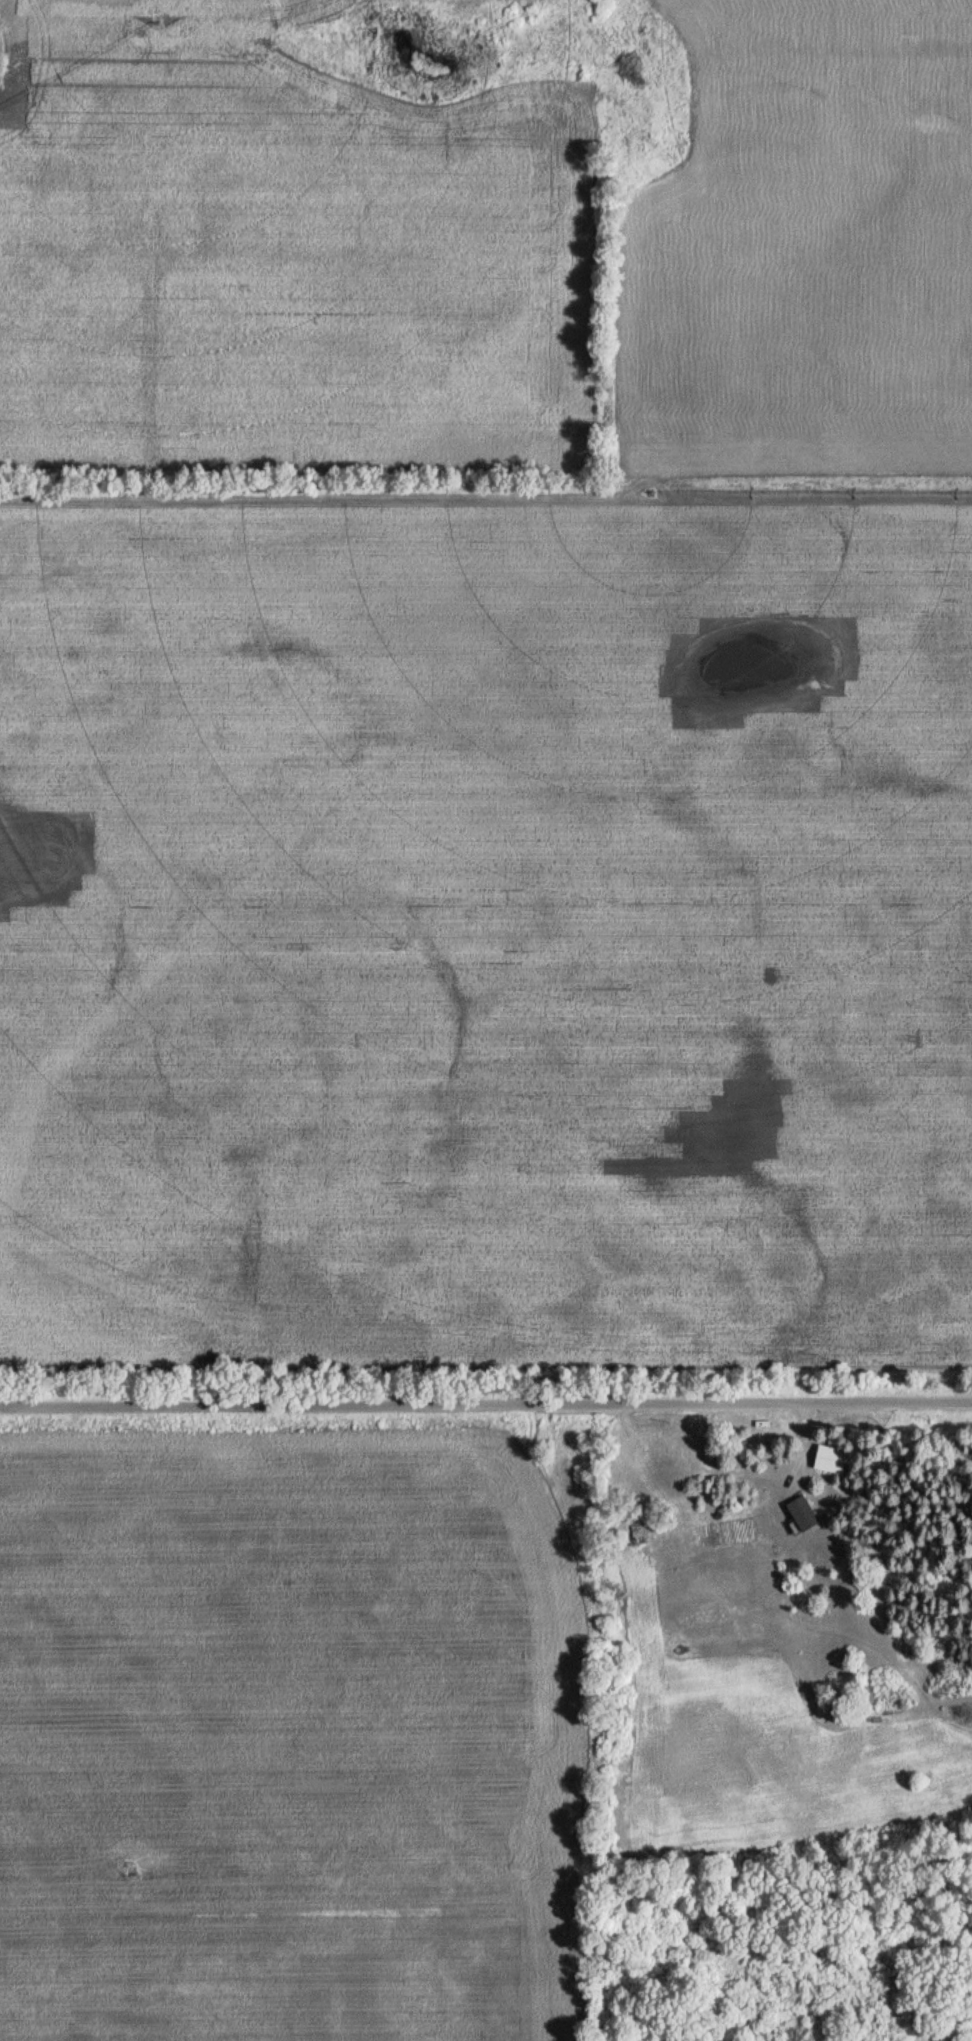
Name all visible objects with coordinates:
road: (486, 1396)
building: (829, 1459)
building: (800, 1514)
building: (634, 1533)

